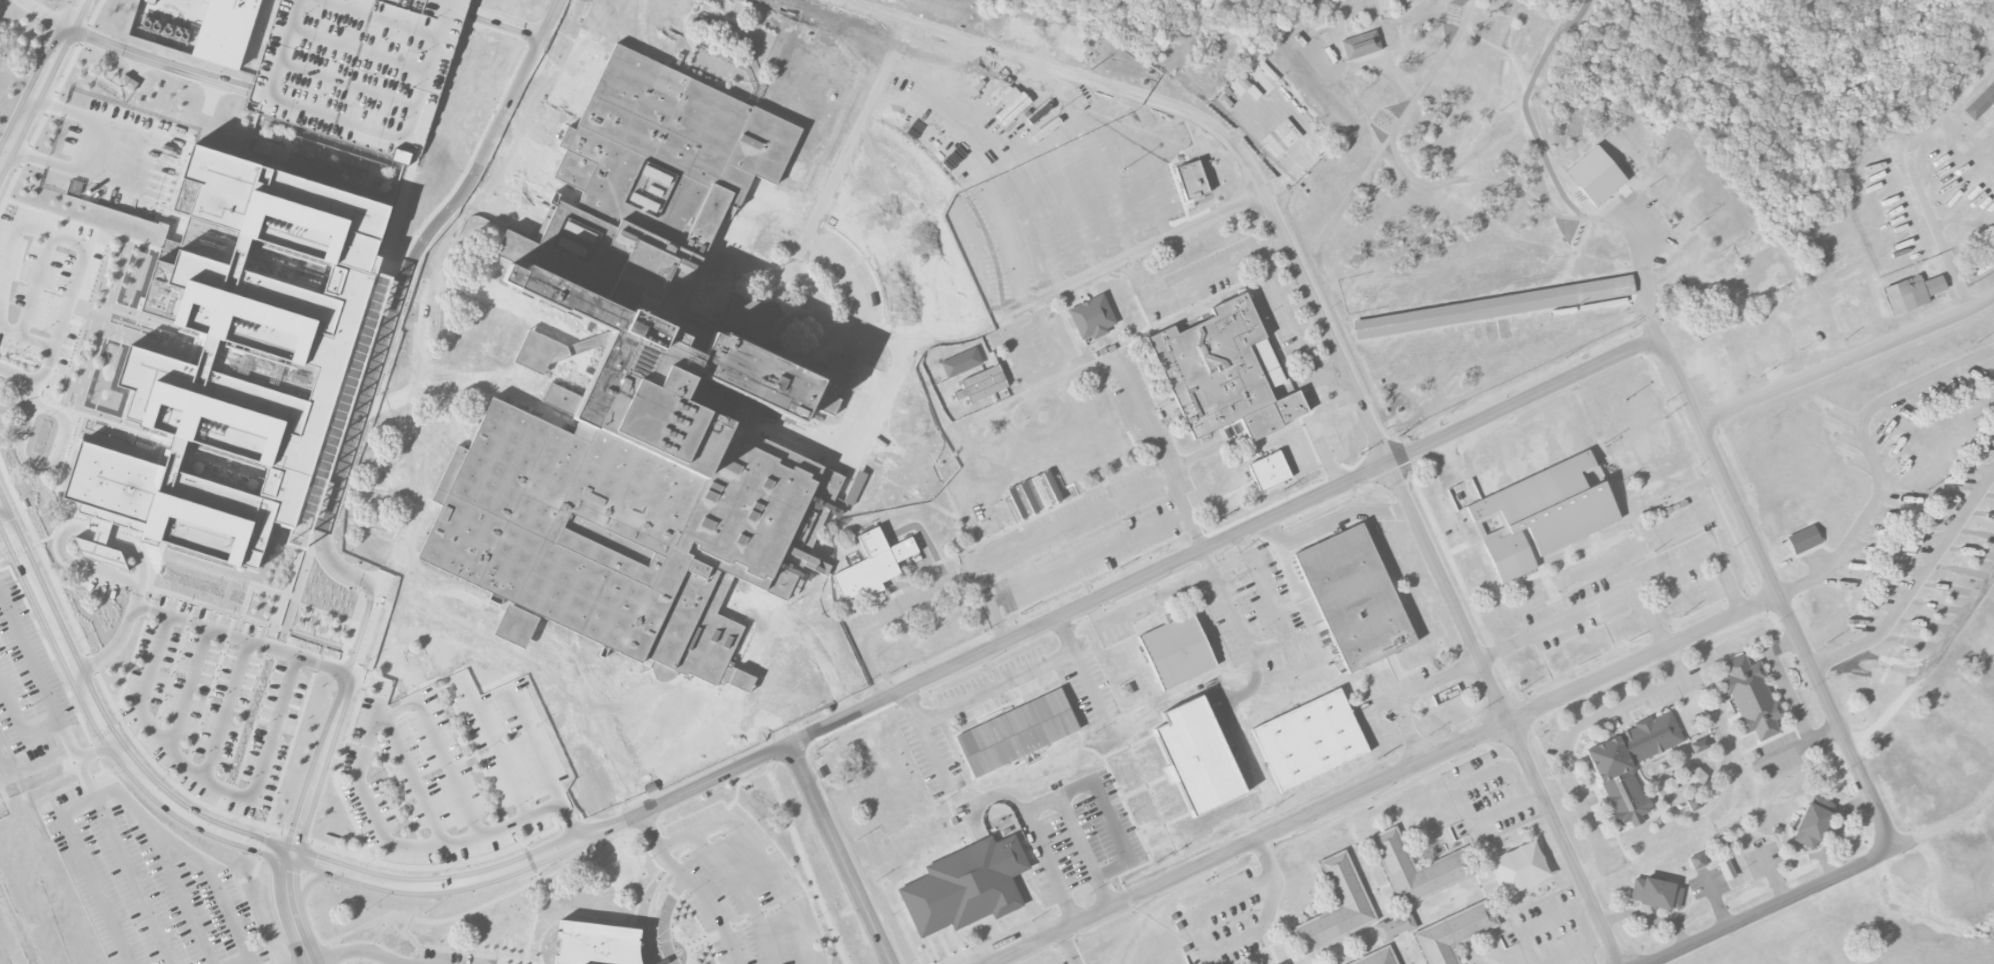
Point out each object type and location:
building: (1028, 9)
road: (504, 21)
building: (225, 30)
building: (1018, 31)
road: (640, 32)
building: (1361, 44)
road: (131, 52)
building: (358, 68)
parking garage: (358, 68)
road: (40, 79)
building: (1241, 87)
road: (512, 99)
building: (1980, 101)
building: (1281, 137)
road: (1039, 139)
road: (87, 150)
road: (1093, 150)
road: (1138, 150)
road: (1003, 152)
parking lot: (122, 154)
road: (516, 158)
parking lot: (526, 163)
building: (1595, 174)
road: (977, 177)
road: (1916, 177)
building: (1192, 179)
parking lot: (988, 188)
road: (948, 207)
parking lot: (519, 209)
road: (497, 211)
road: (1329, 221)
road: (31, 231)
road: (917, 233)
road: (1273, 245)
road: (883, 254)
road: (1259, 254)
road: (849, 275)
road: (444, 279)
parking lot: (43, 283)
road: (35, 286)
road: (1647, 289)
building: (1912, 293)
parking lot: (1179, 296)
building: (1493, 306)
building: (1092, 316)
road: (886, 332)
parking lot: (1040, 349)
building: (539, 351)
road: (535, 352)
road: (1342, 358)
road: (1105, 359)
road: (1848, 360)
building: (237, 361)
building: (961, 362)
road: (1045, 371)
building: (1224, 371)
road: (29, 379)
road: (477, 380)
building: (982, 384)
road: (365, 395)
parking lot: (858, 396)
road: (393, 400)
building: (649, 400)
road: (861, 430)
building: (1079, 447)
road: (1878, 460)
building: (1211, 461)
road: (1330, 465)
road: (36, 466)
building: (1269, 470)
building: (855, 488)
road: (1677, 494)
building: (1544, 513)
parking lot: (1090, 515)
road: (1071, 520)
road: (1335, 520)
building: (1803, 540)
road: (119, 542)
road: (1087, 557)
road: (1207, 563)
road: (1148, 579)
parking lot: (97, 584)
road: (1775, 588)
road: (1916, 590)
parking lot: (1622, 591)
road: (1627, 591)
building: (1354, 596)
parking lot: (879, 611)
parking lot: (1256, 614)
road: (1653, 616)
road: (1232, 617)
road: (883, 619)
road: (787, 623)
road: (365, 631)
parking lot: (1114, 632)
road: (1063, 635)
road: (241, 640)
road: (555, 641)
building: (1176, 650)
road: (30, 658)
road: (1025, 670)
building: (663, 672)
parking lot: (1417, 676)
building: (739, 679)
parking lot: (28, 680)
parking lot: (1697, 681)
parking lot: (1089, 685)
road: (1418, 688)
road: (189, 689)
building: (1125, 690)
building: (1750, 697)
parking lot: (1663, 698)
parking lot: (214, 703)
road: (1794, 706)
building: (1707, 709)
road: (226, 711)
road: (1403, 712)
road: (729, 717)
parking lot: (1619, 719)
road: (673, 721)
road: (21, 722)
road: (105, 723)
parking lot: (917, 724)
parking lot: (678, 729)
road: (489, 732)
building: (1016, 732)
road: (1823, 734)
road: (924, 736)
building: (1309, 739)
parking lot: (1555, 739)
road: (1569, 739)
building: (1698, 745)
road: (437, 746)
parking lot: (447, 753)
parking lot: (1779, 756)
building: (1197, 757)
road: (78, 759)
road: (658, 759)
road: (319, 763)
building: (1630, 764)
road: (410, 776)
road: (85, 778)
road: (1382, 778)
building: (1695, 778)
road: (204, 779)
road: (1458, 784)
road: (117, 792)
parking lot: (1489, 794)
parking lot: (1591, 797)
road: (559, 804)
road: (1040, 804)
building: (1694, 804)
building: (1812, 821)
road: (569, 822)
road: (1943, 825)
parking lot: (1062, 843)
parking lot: (1616, 852)
road: (758, 854)
road: (843, 855)
building: (1697, 861)
building: (1519, 867)
building: (1417, 868)
building: (1726, 869)
road: (132, 880)
road: (469, 880)
parking lot: (147, 883)
road: (695, 884)
building: (965, 886)
parking lot: (741, 888)
road: (743, 892)
building: (1655, 893)
road: (179, 897)
road: (1584, 904)
building: (1337, 906)
road: (1772, 908)
road: (291, 909)
parking lot: (1231, 915)
road: (666, 917)
building: (1395, 926)
road: (1533, 928)
parking lot: (1556, 931)
building: (1454, 932)
building: (595, 943)
road: (1592, 945)
road: (1065, 947)
road: (1042, 948)
road: (363, 951)
road: (1213, 951)
building: (1378, 957)
parking lot: (447, 958)
parking lot: (1074, 961)
road: (251, 962)

